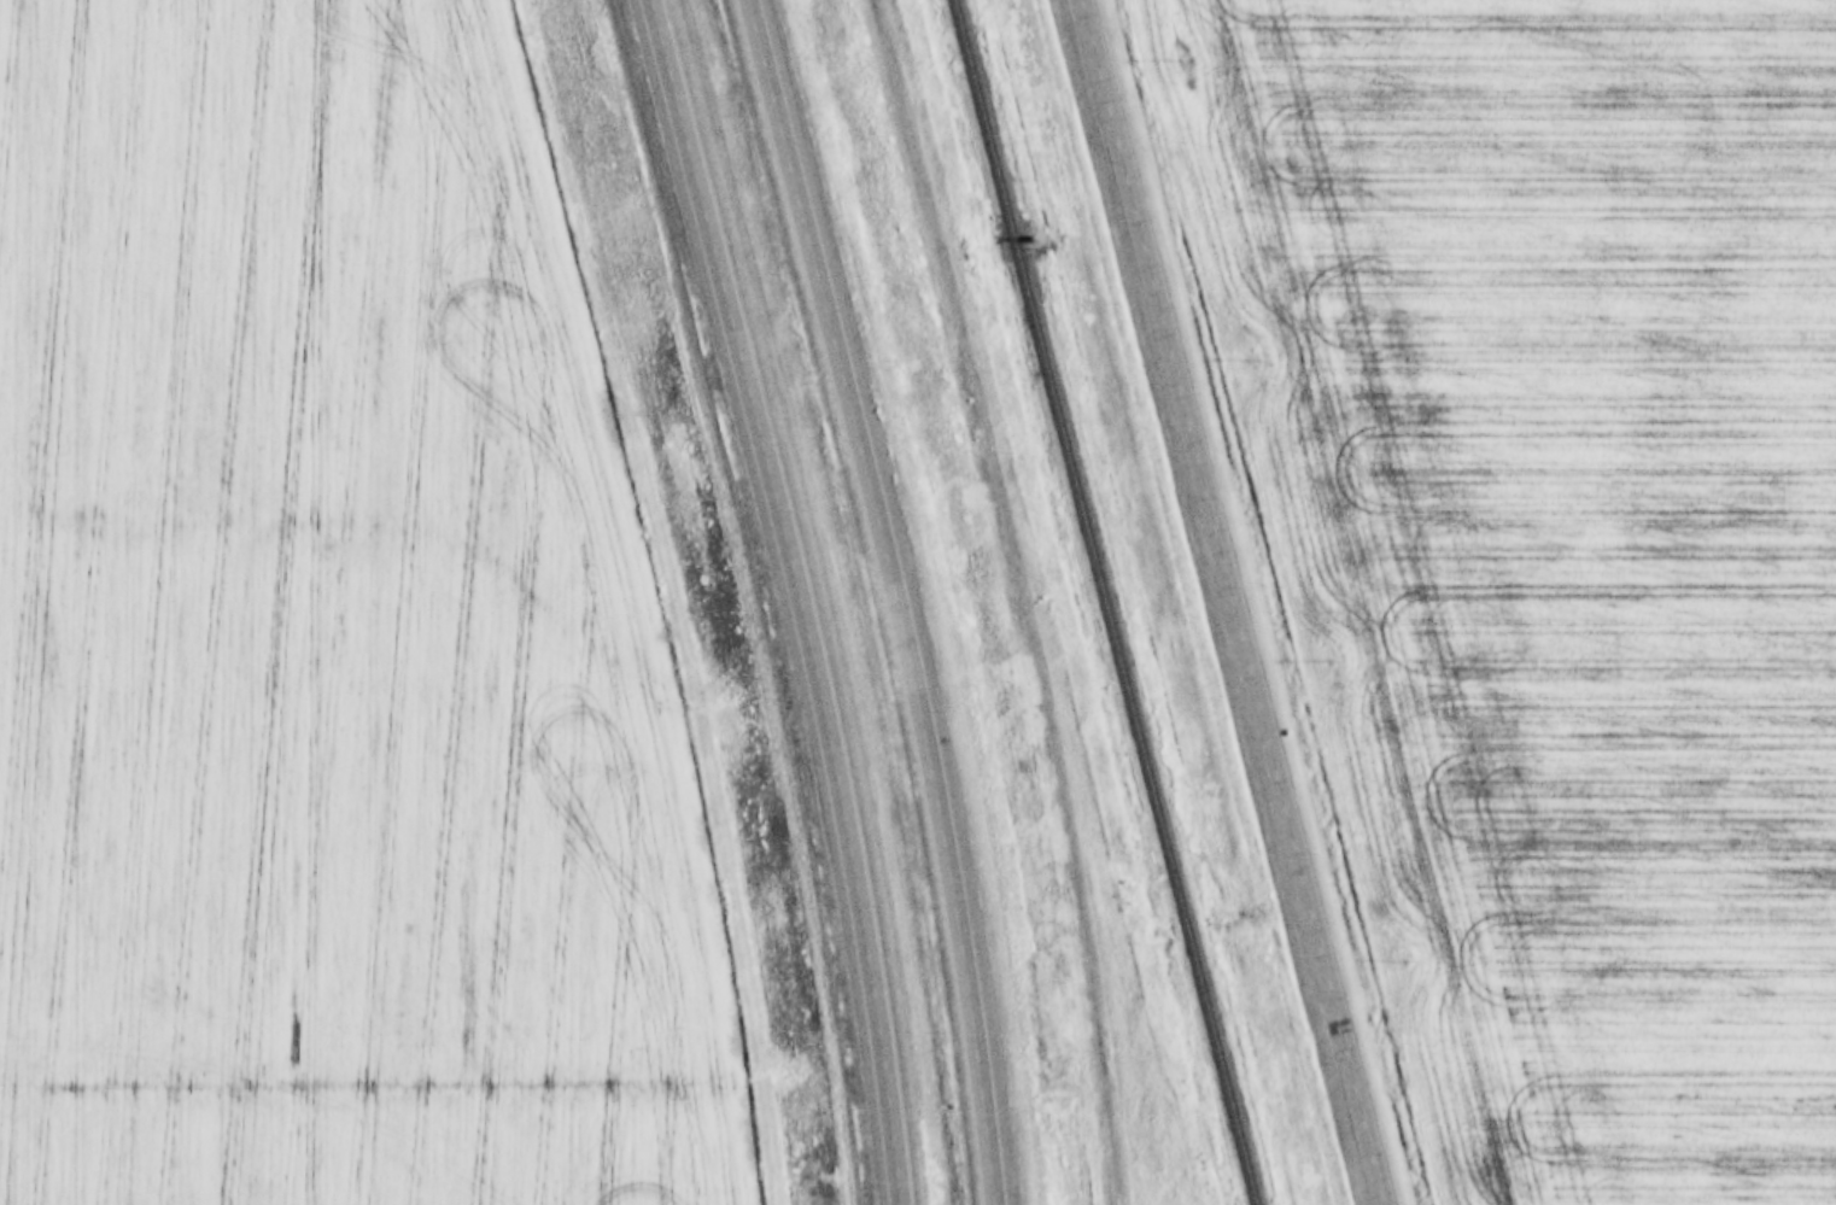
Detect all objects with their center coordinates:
road: (805, 597)
road: (902, 597)
railway: (1101, 602)
road: (1238, 602)

